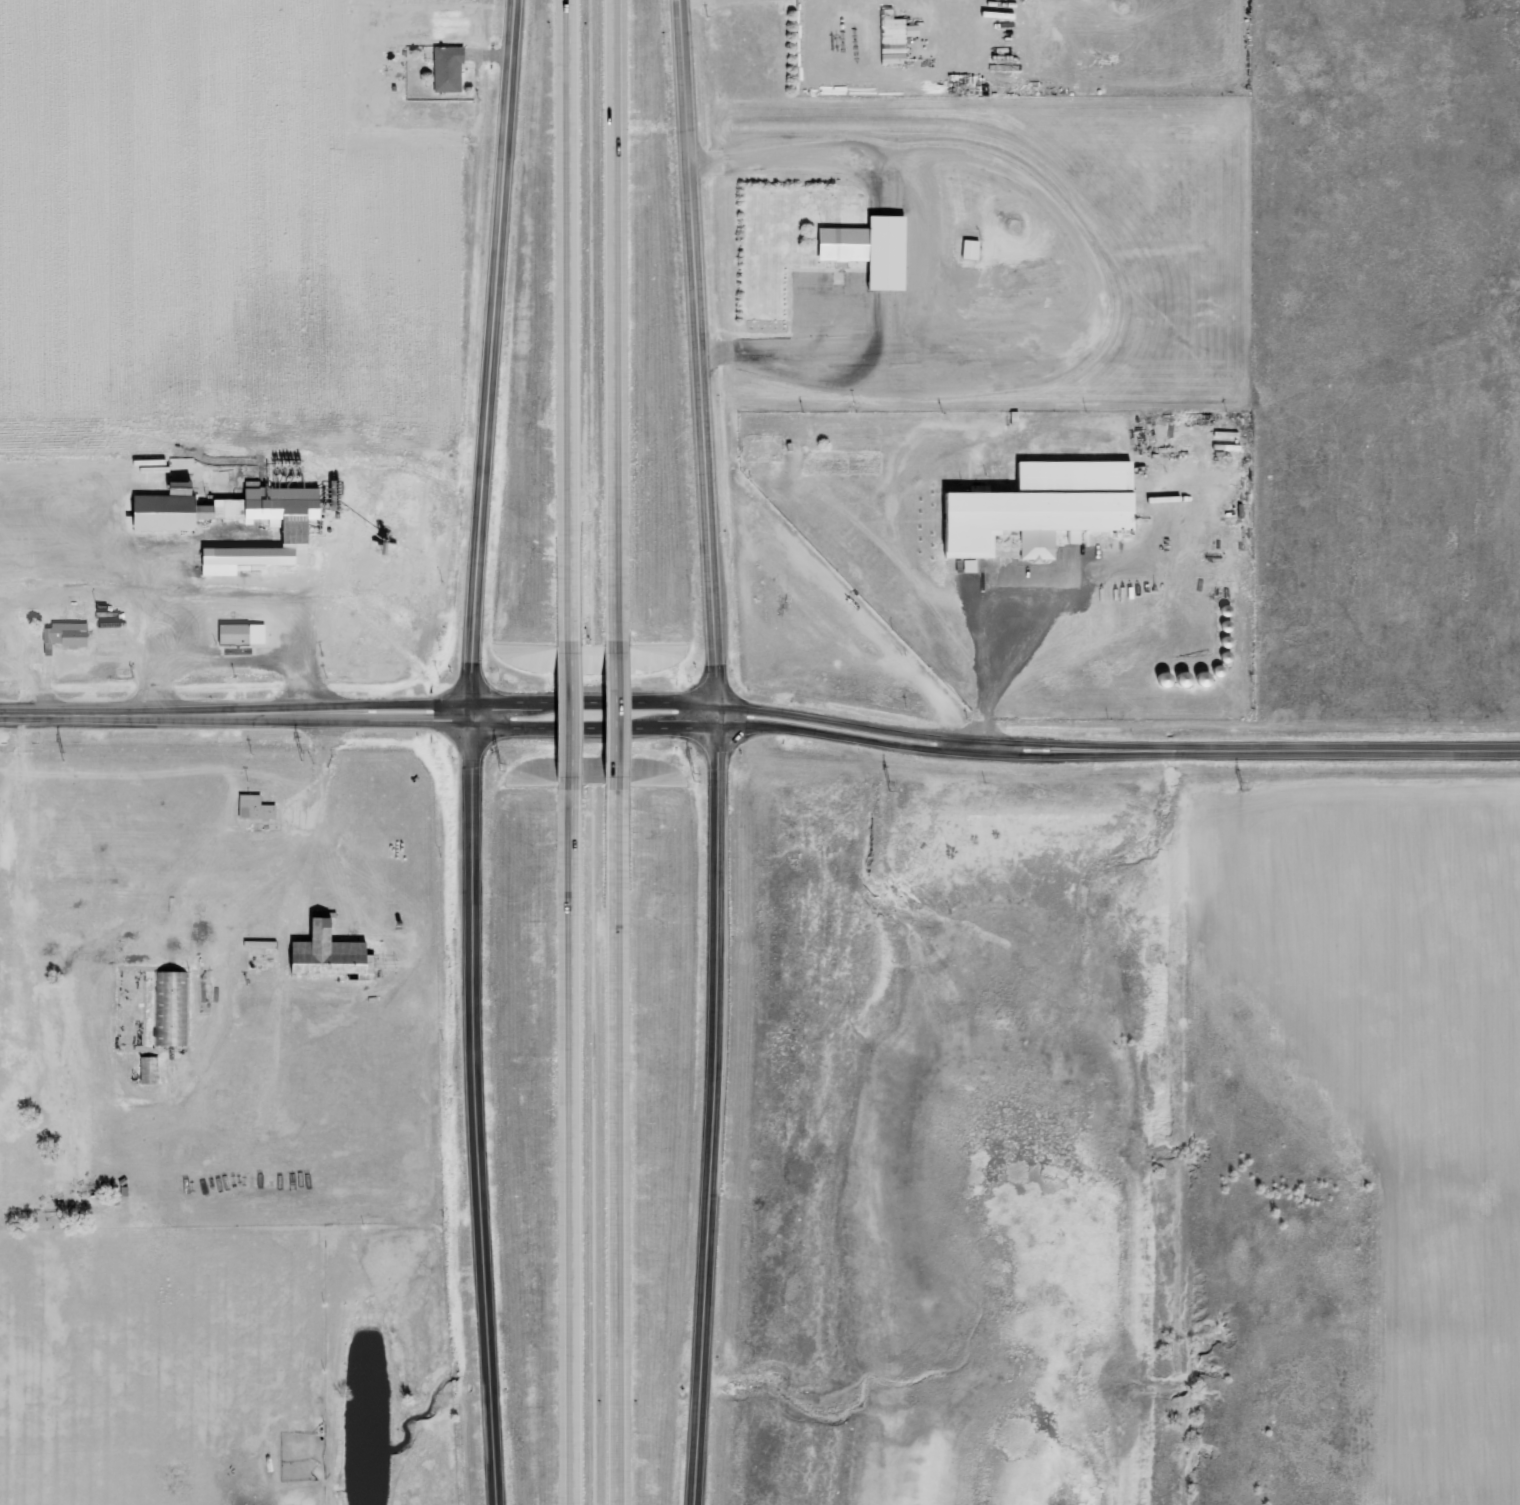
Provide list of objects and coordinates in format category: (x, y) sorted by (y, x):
building: (892, 36)
building: (444, 70)
building: (967, 250)
building: (865, 251)
road: (1096, 277)
road: (625, 333)
road: (578, 335)
building: (1034, 506)
building: (237, 510)
building: (247, 559)
building: (967, 567)
building: (236, 634)
building: (67, 635)
road: (995, 675)
road: (761, 718)
road: (628, 719)
road: (585, 720)
road: (478, 752)
road: (719, 752)
power tower: (63, 756)
power tower: (300, 758)
power tower: (502, 768)
power tower: (694, 779)
power tower: (890, 786)
power tower: (1240, 786)
building: (257, 809)
building: (335, 953)
building: (171, 1010)
road: (590, 1137)
road: (631, 1138)

